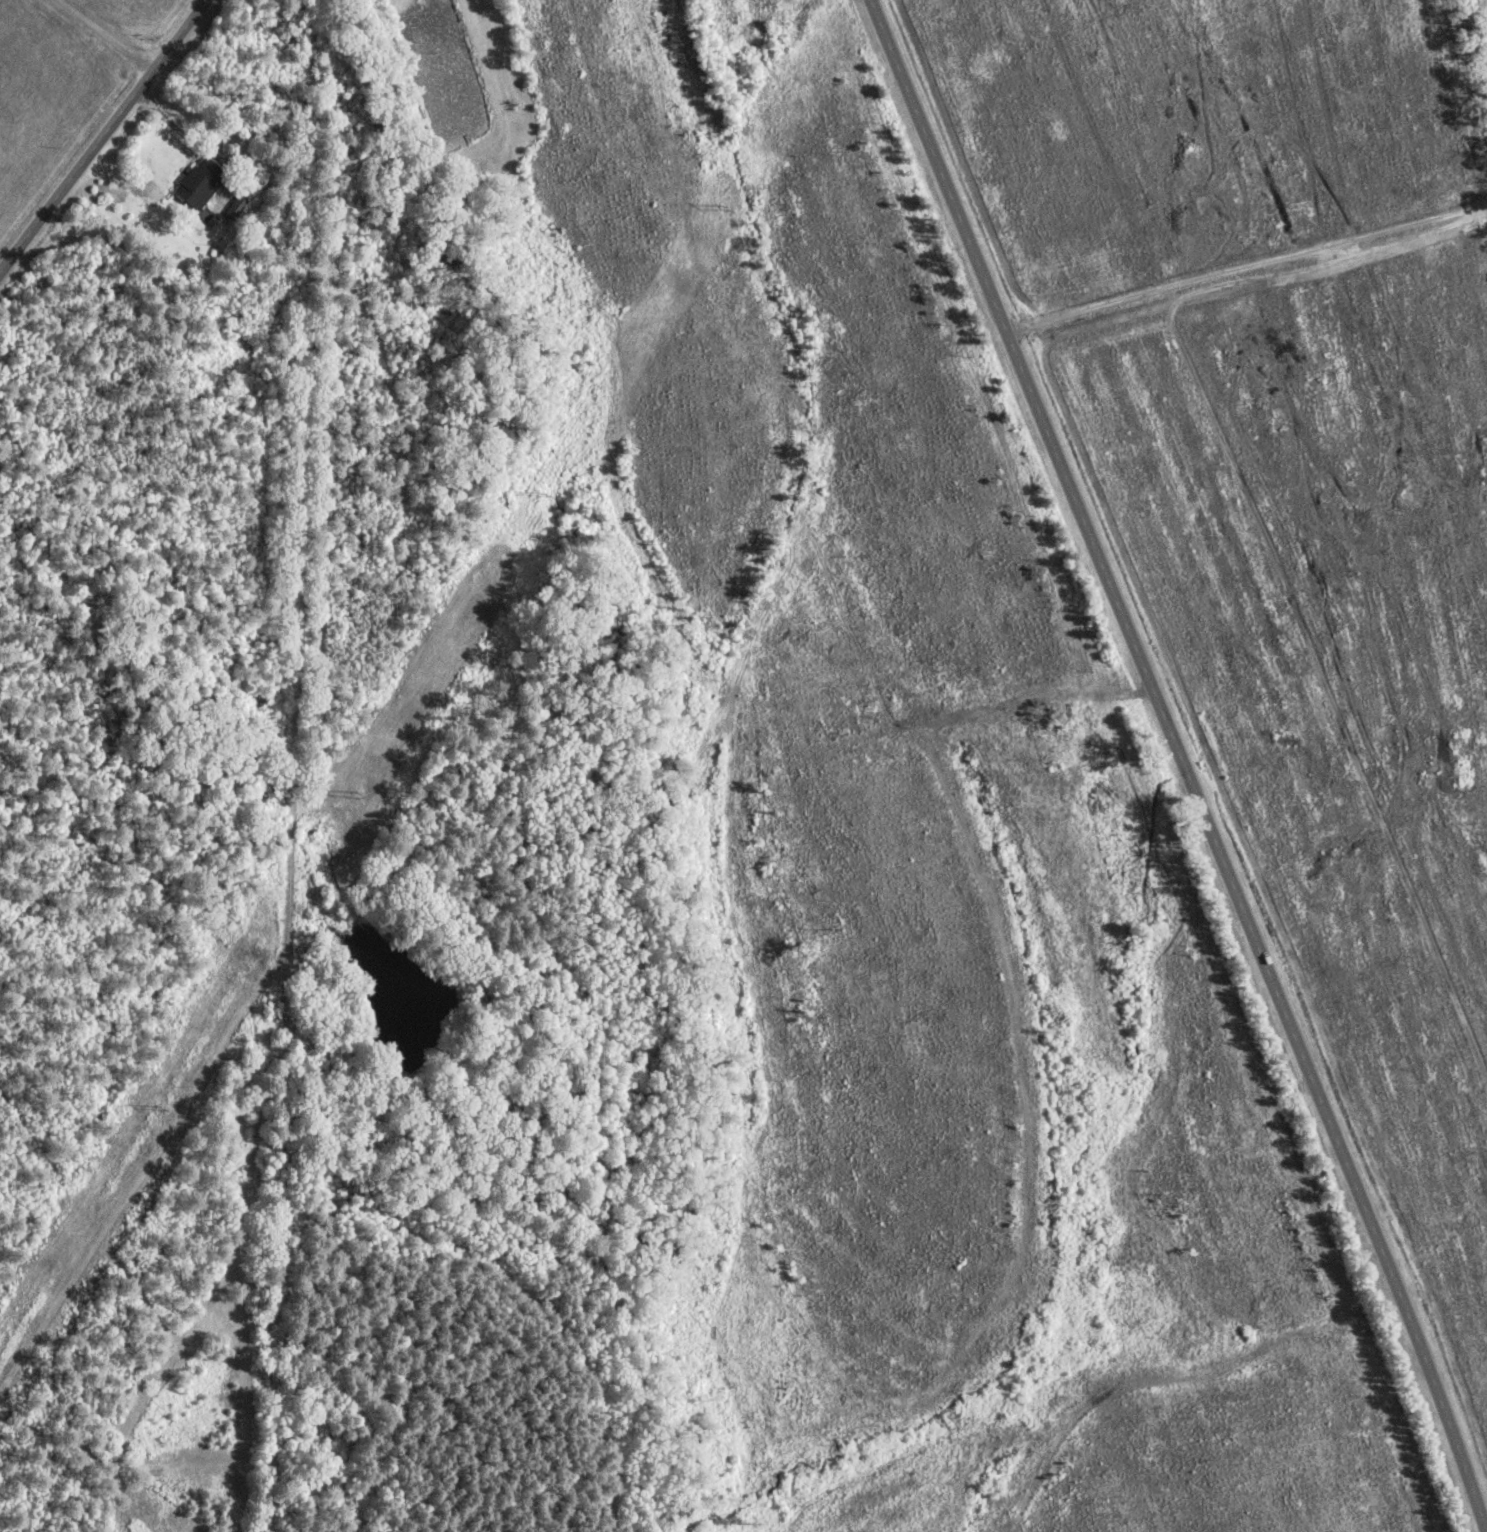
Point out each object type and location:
road: (101, 35)
road: (102, 135)
building: (205, 182)
road: (1244, 262)
road: (1186, 762)

